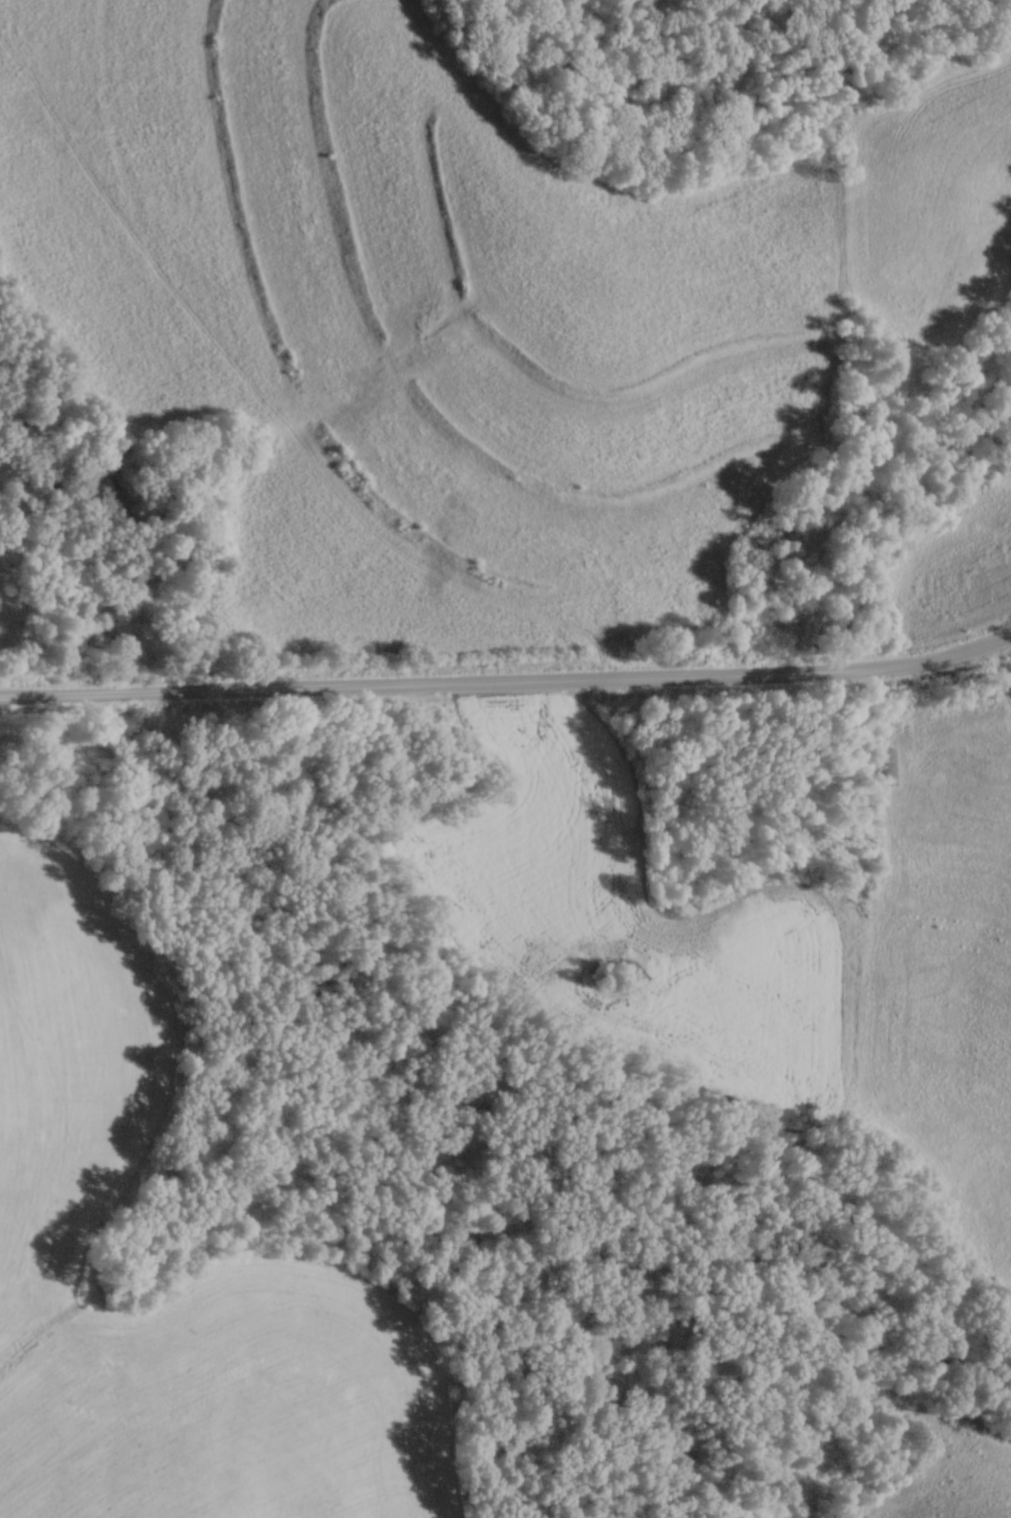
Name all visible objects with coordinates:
road: (507, 679)

